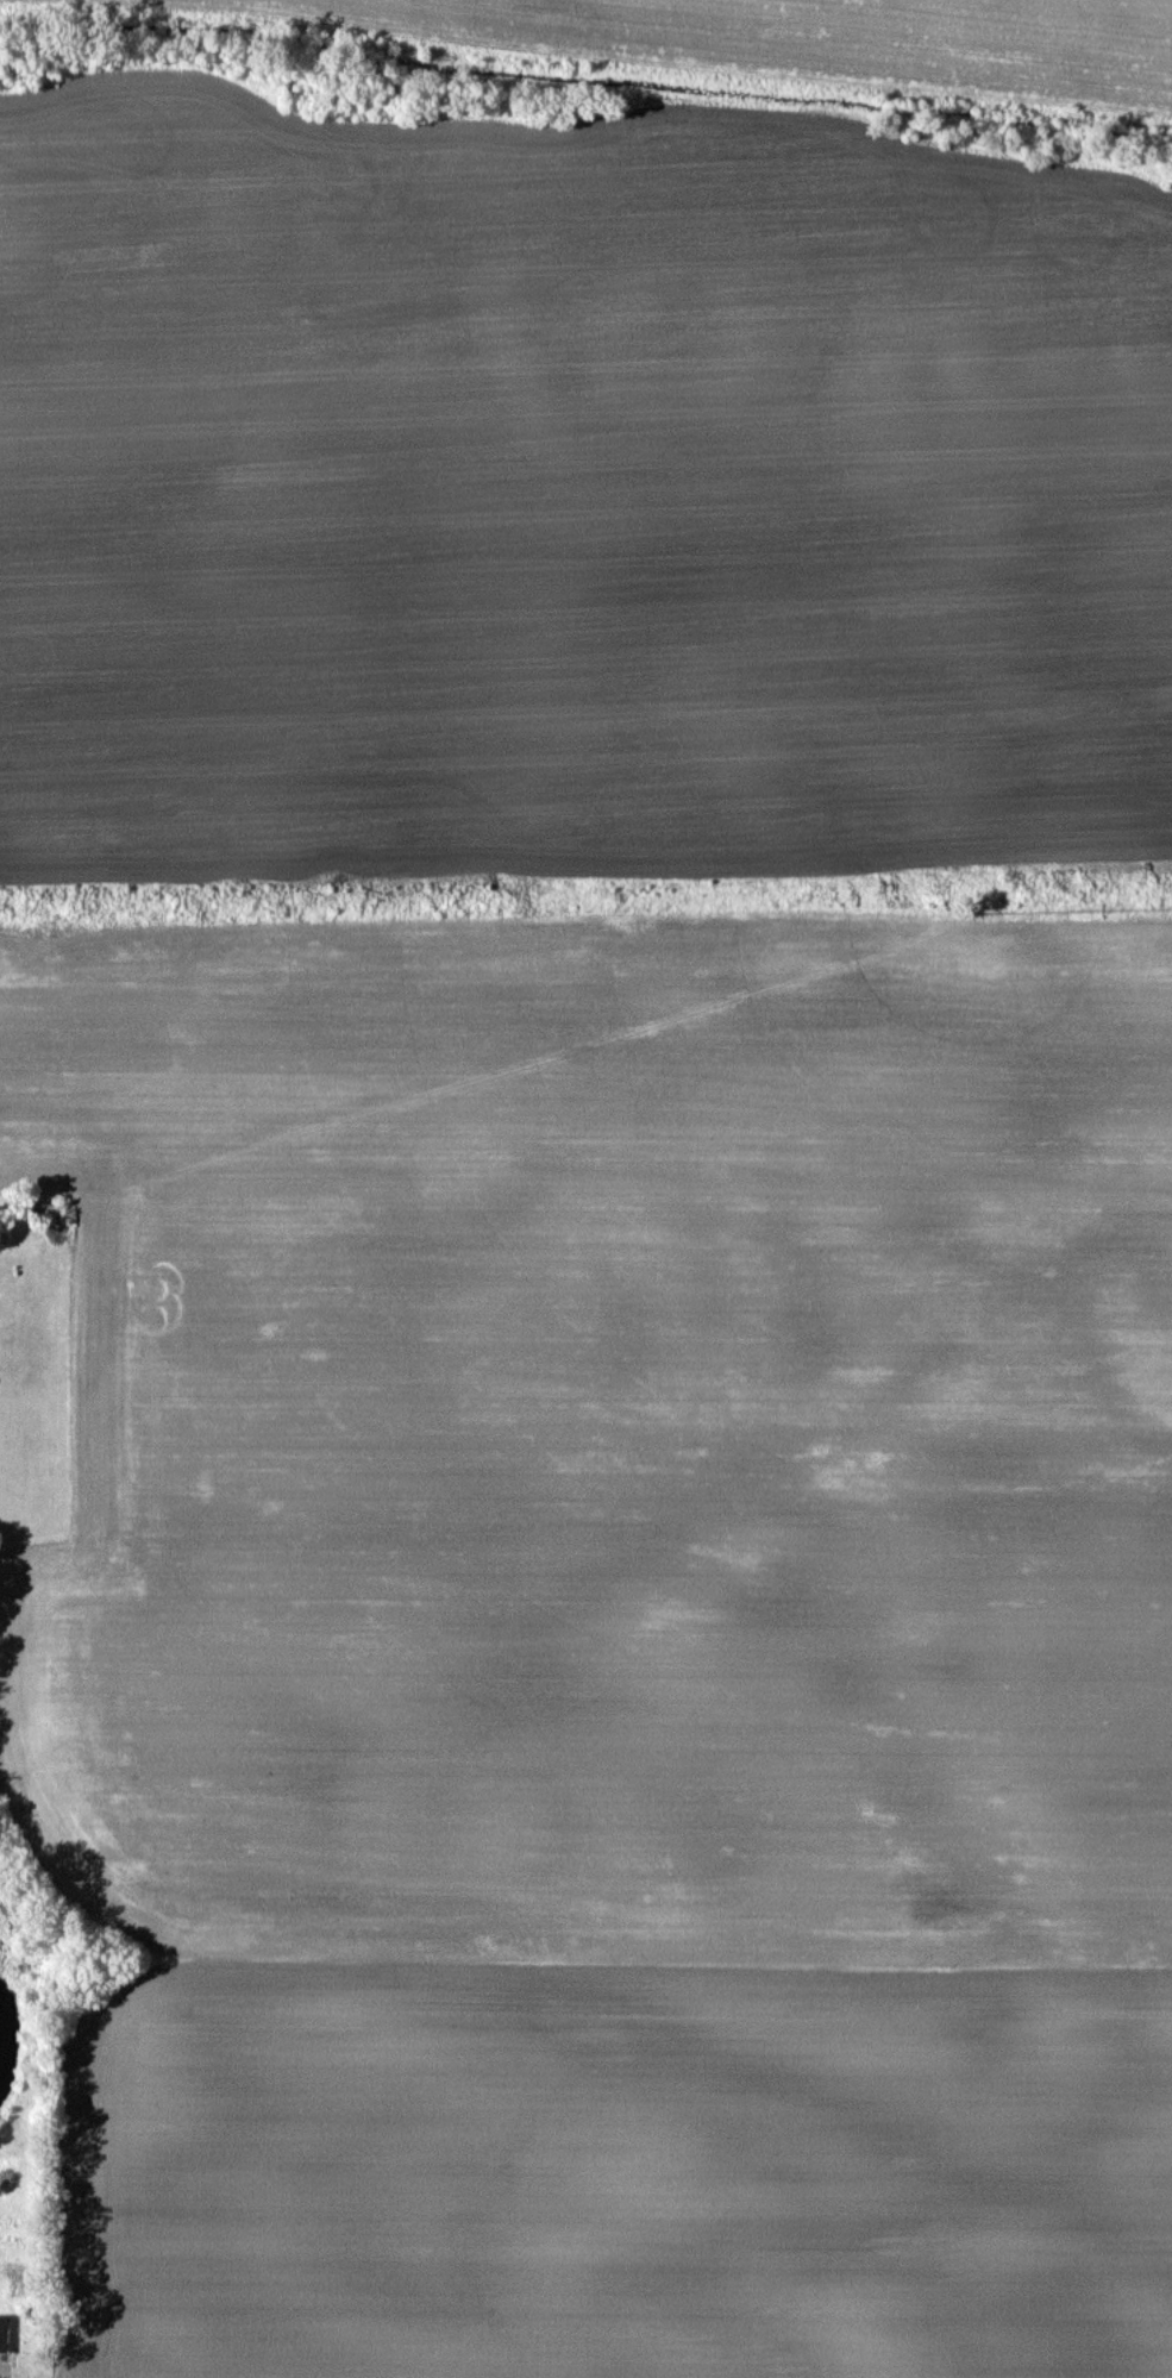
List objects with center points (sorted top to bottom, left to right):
building: (2, 2334)

